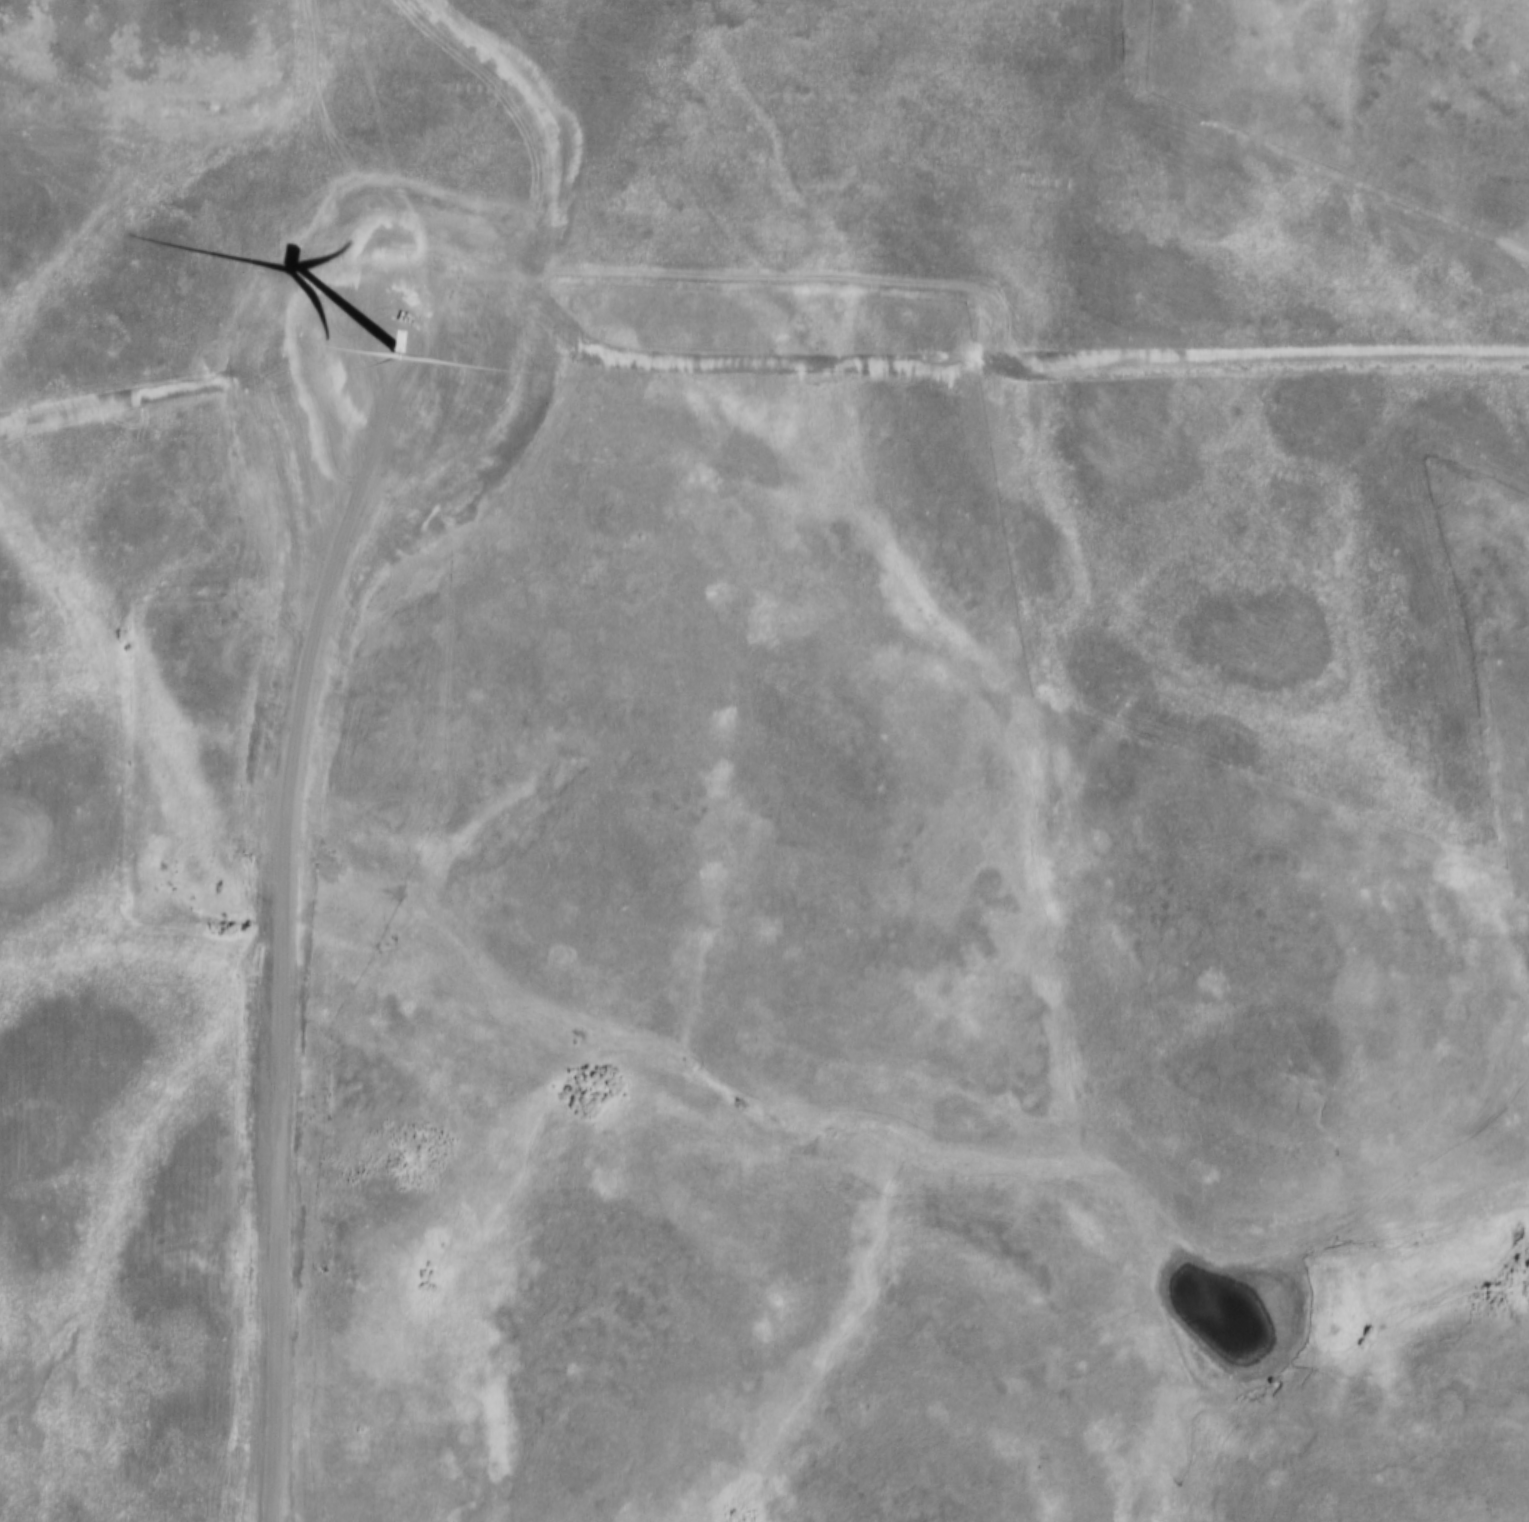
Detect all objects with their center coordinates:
wind turbine: (388, 339)
road: (764, 402)
road: (285, 960)

